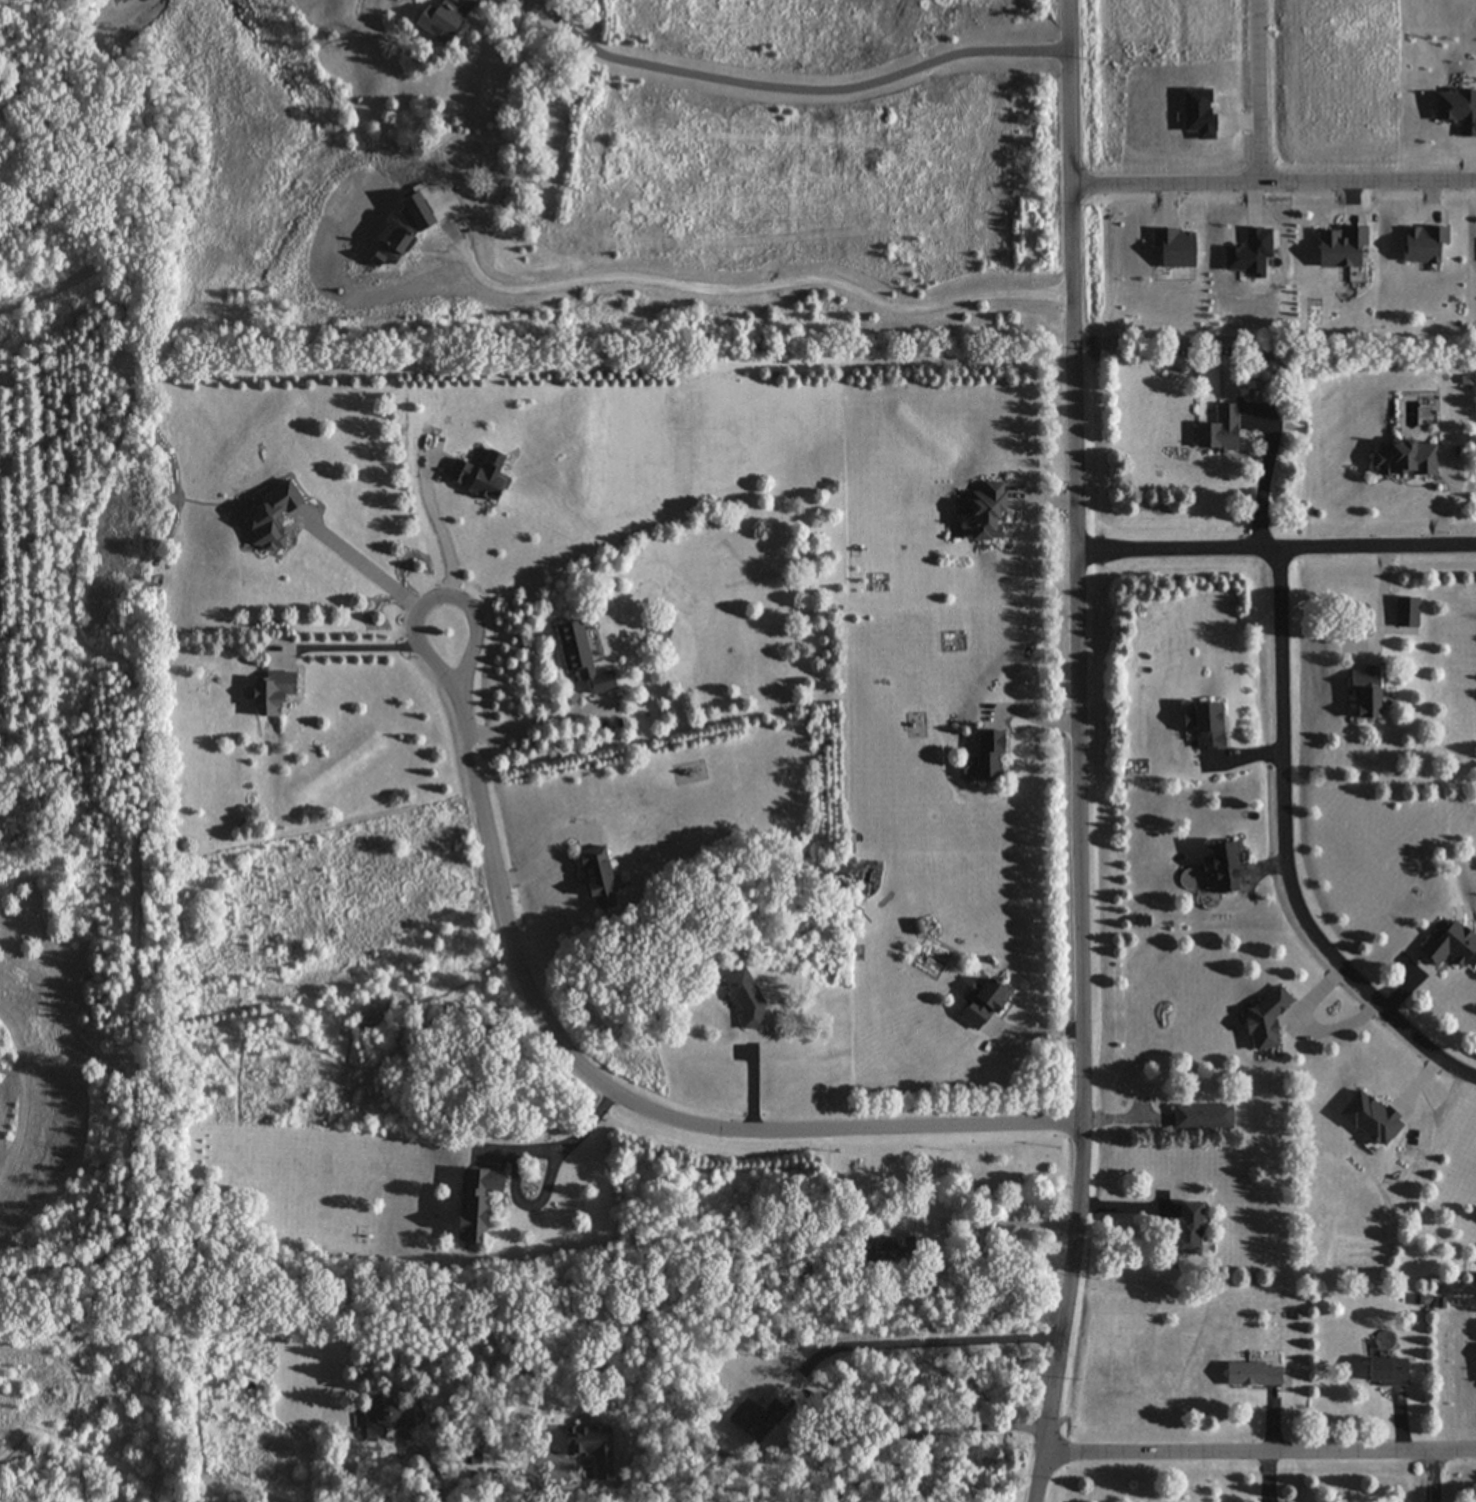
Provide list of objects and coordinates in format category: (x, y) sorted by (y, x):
building: (439, 19)
road: (1267, 85)
road: (1277, 170)
building: (1421, 245)
building: (1338, 248)
road: (749, 280)
building: (1217, 429)
building: (1402, 457)
road: (1264, 468)
building: (475, 474)
building: (982, 510)
building: (267, 515)
road: (447, 542)
road: (1281, 545)
road: (376, 572)
road: (1382, 600)
building: (1404, 611)
park: (83, 636)
road: (369, 644)
building: (576, 655)
building: (267, 692)
building: (1361, 692)
road: (539, 720)
building: (1203, 725)
road: (1084, 752)
building: (985, 755)
road: (1290, 850)
building: (1221, 865)
building: (592, 876)
building: (1450, 945)
building: (982, 1003)
building: (1264, 1019)
road: (607, 1085)
building: (1202, 1117)
building: (1368, 1119)
road: (574, 1136)
building: (474, 1201)
road: (991, 1216)
building: (1186, 1229)
building: (876, 1250)
road: (732, 1358)
building: (1384, 1371)
building: (1251, 1373)
building: (387, 1416)
road: (932, 1433)
road: (1262, 1448)
road: (428, 1465)
road: (1433, 1475)

